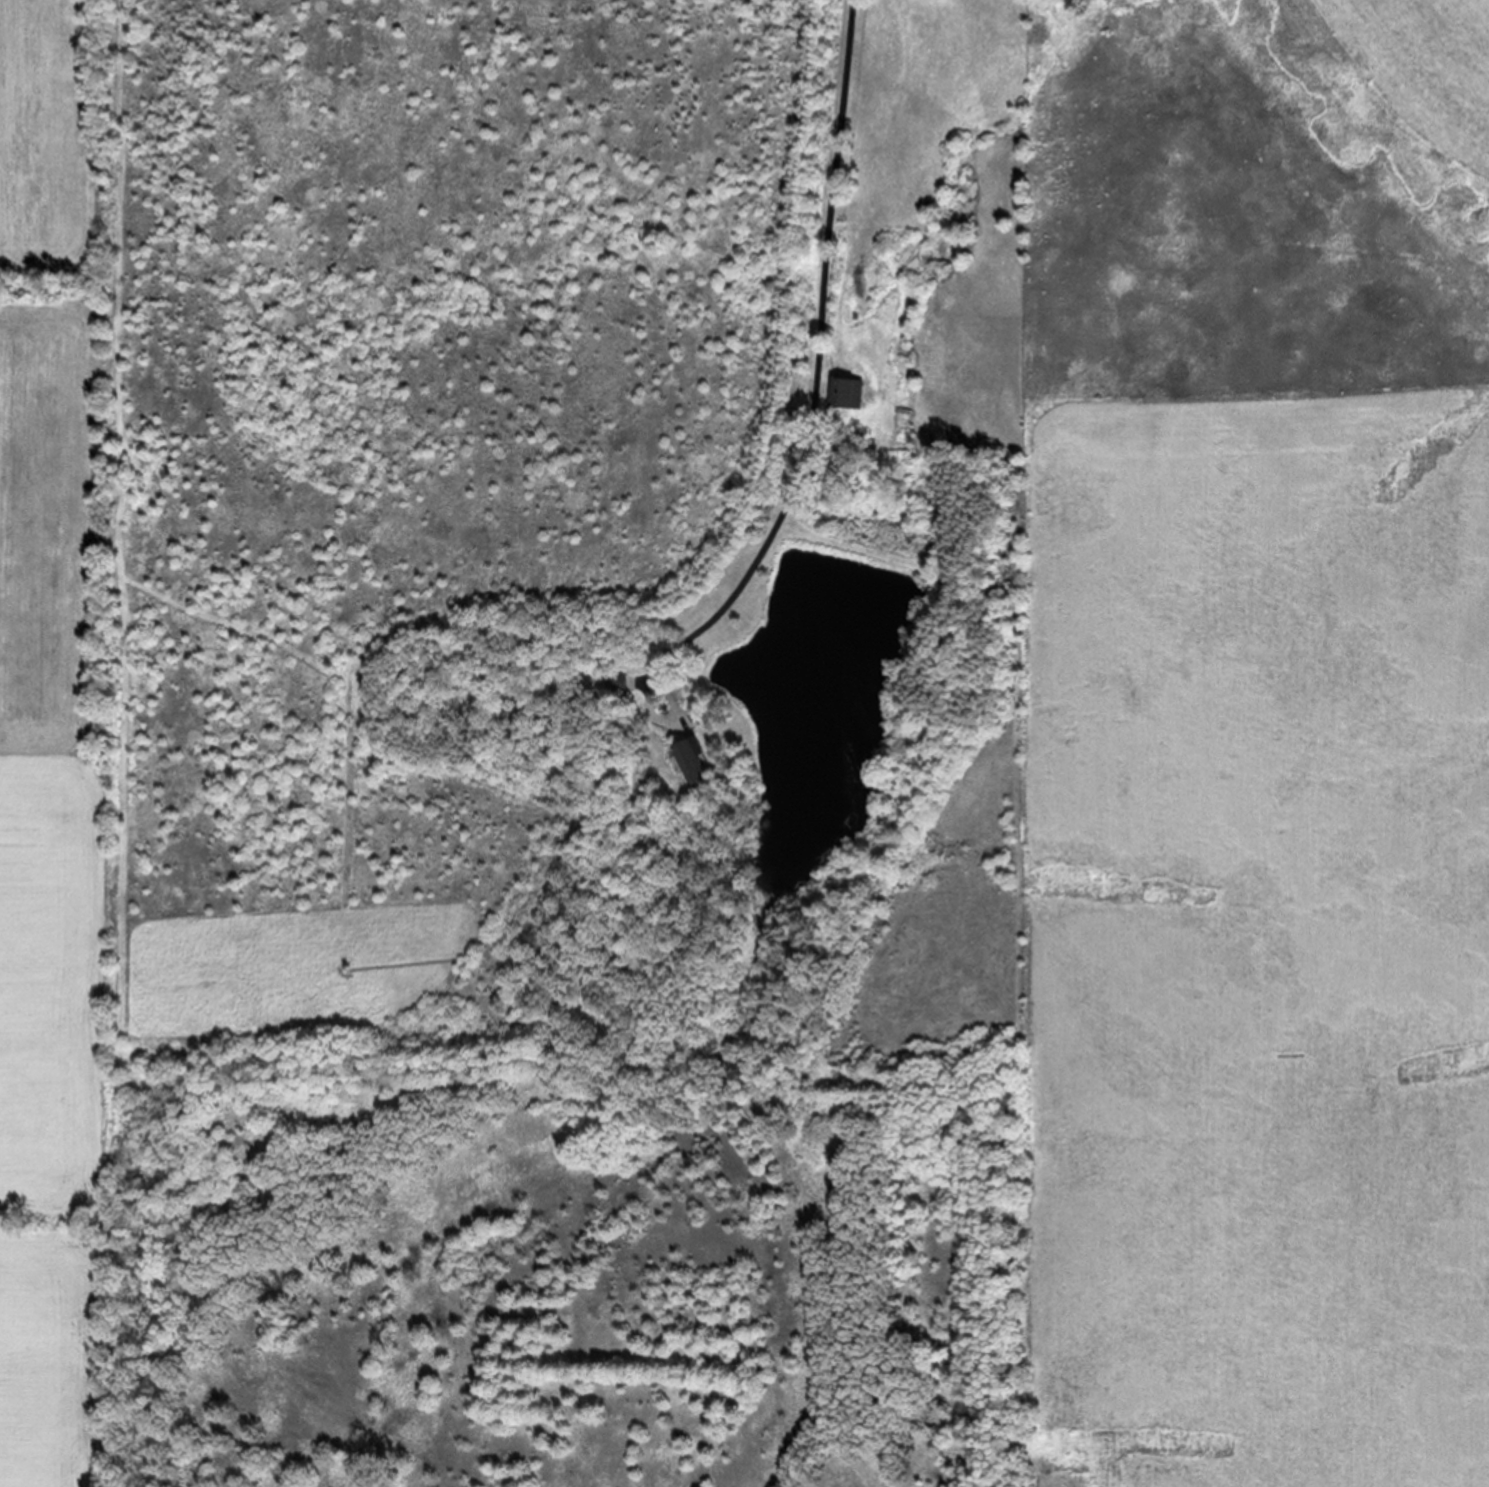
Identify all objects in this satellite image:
road: (821, 344)
building: (843, 392)
road: (905, 410)
building: (618, 681)
road: (659, 715)
building: (688, 759)

